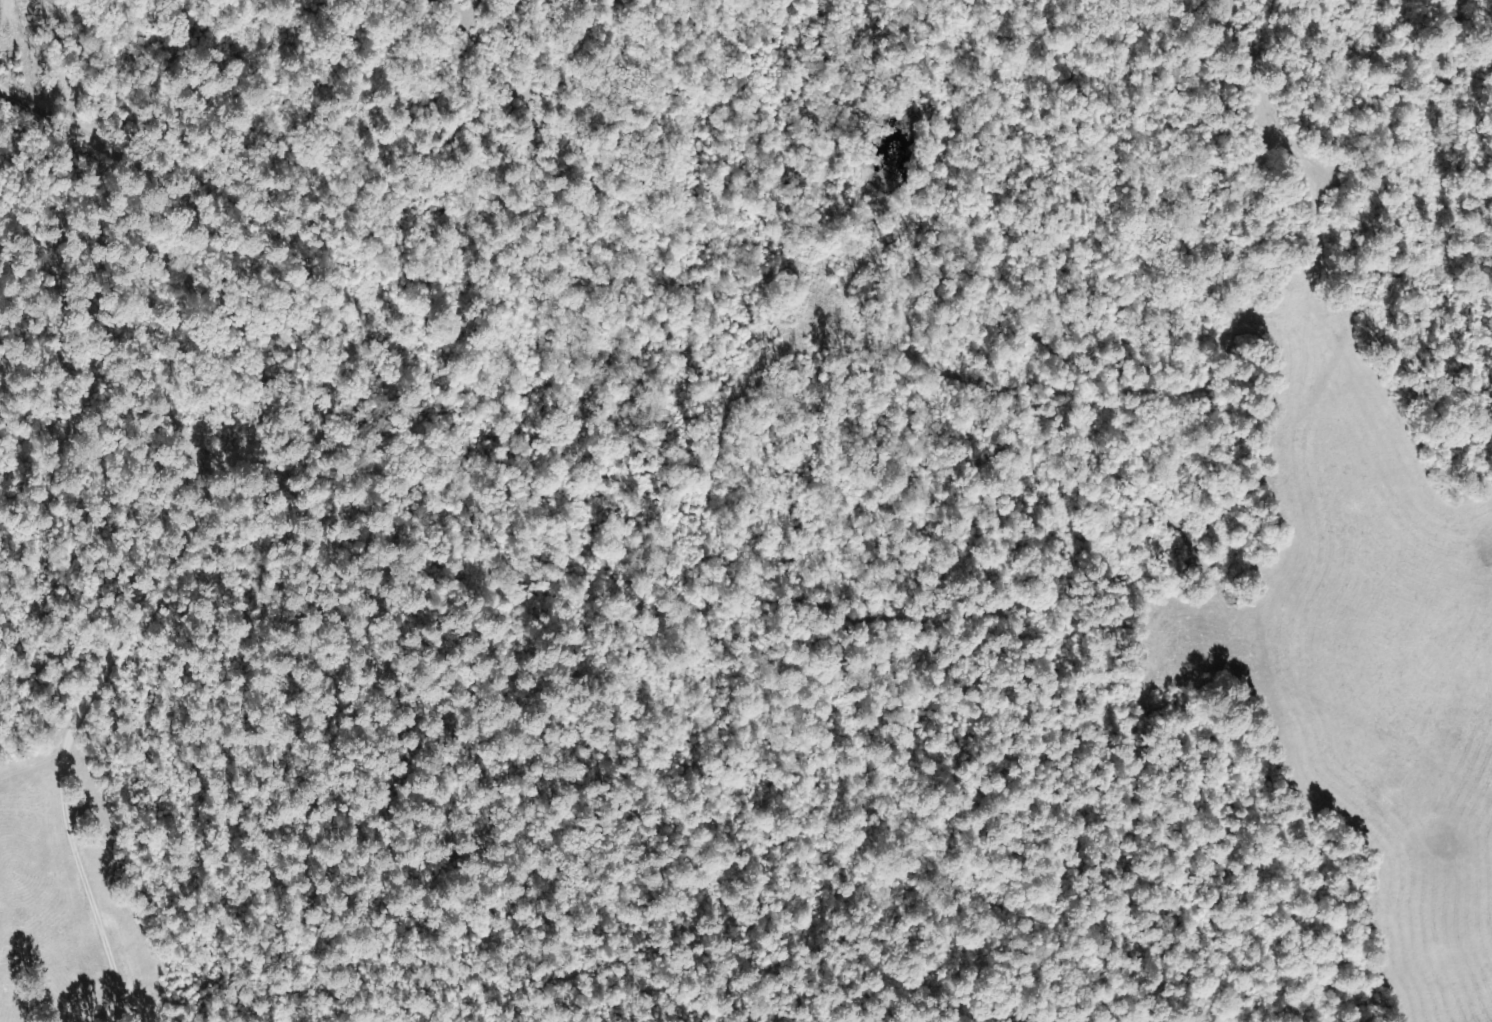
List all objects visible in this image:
road: (1346, 283)

